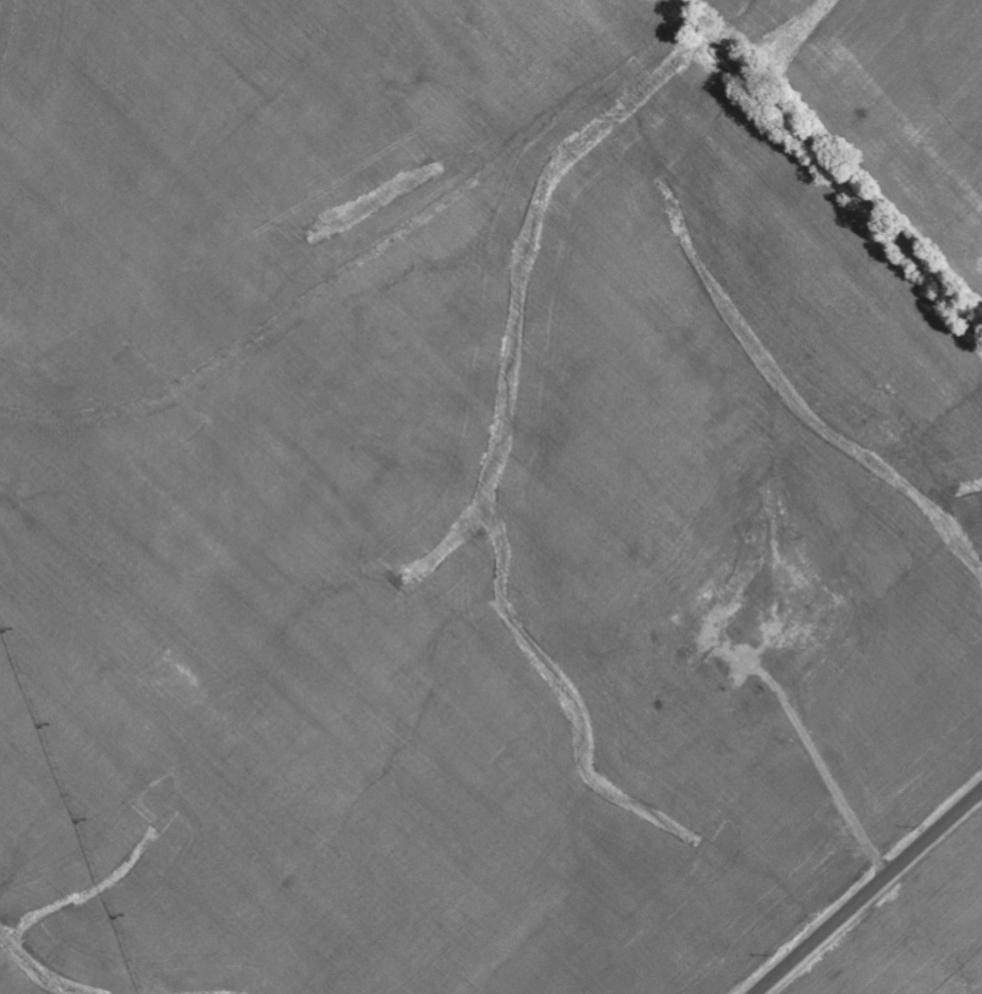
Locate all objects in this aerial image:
road: (830, 165)
building: (744, 623)
road: (869, 892)

